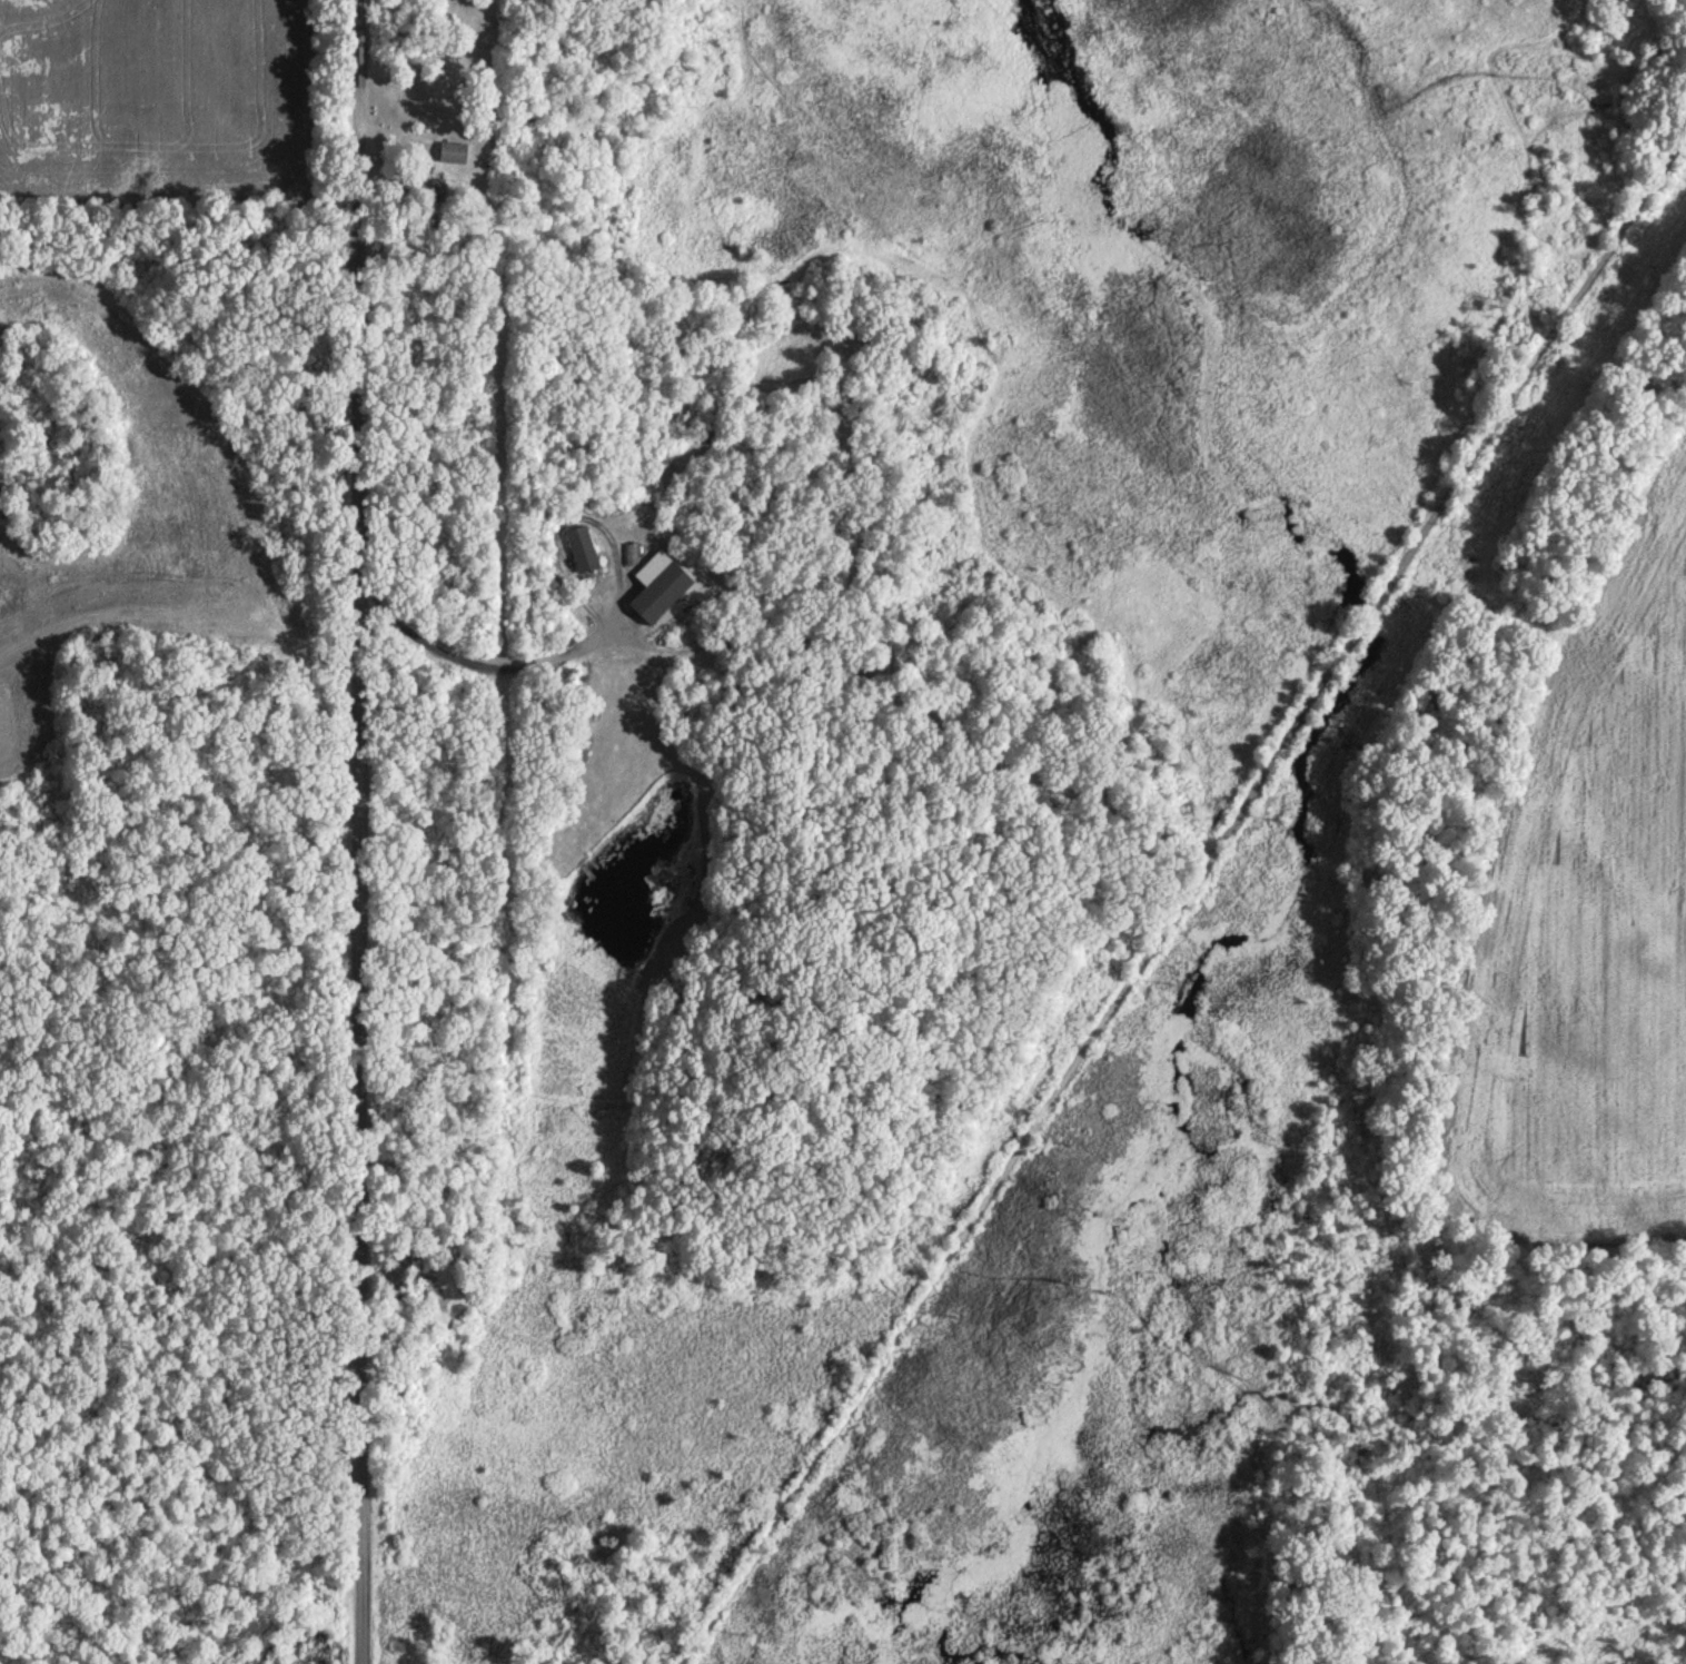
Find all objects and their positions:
building: (453, 150)
building: (583, 547)
building: (631, 552)
building: (658, 584)
road: (360, 832)

